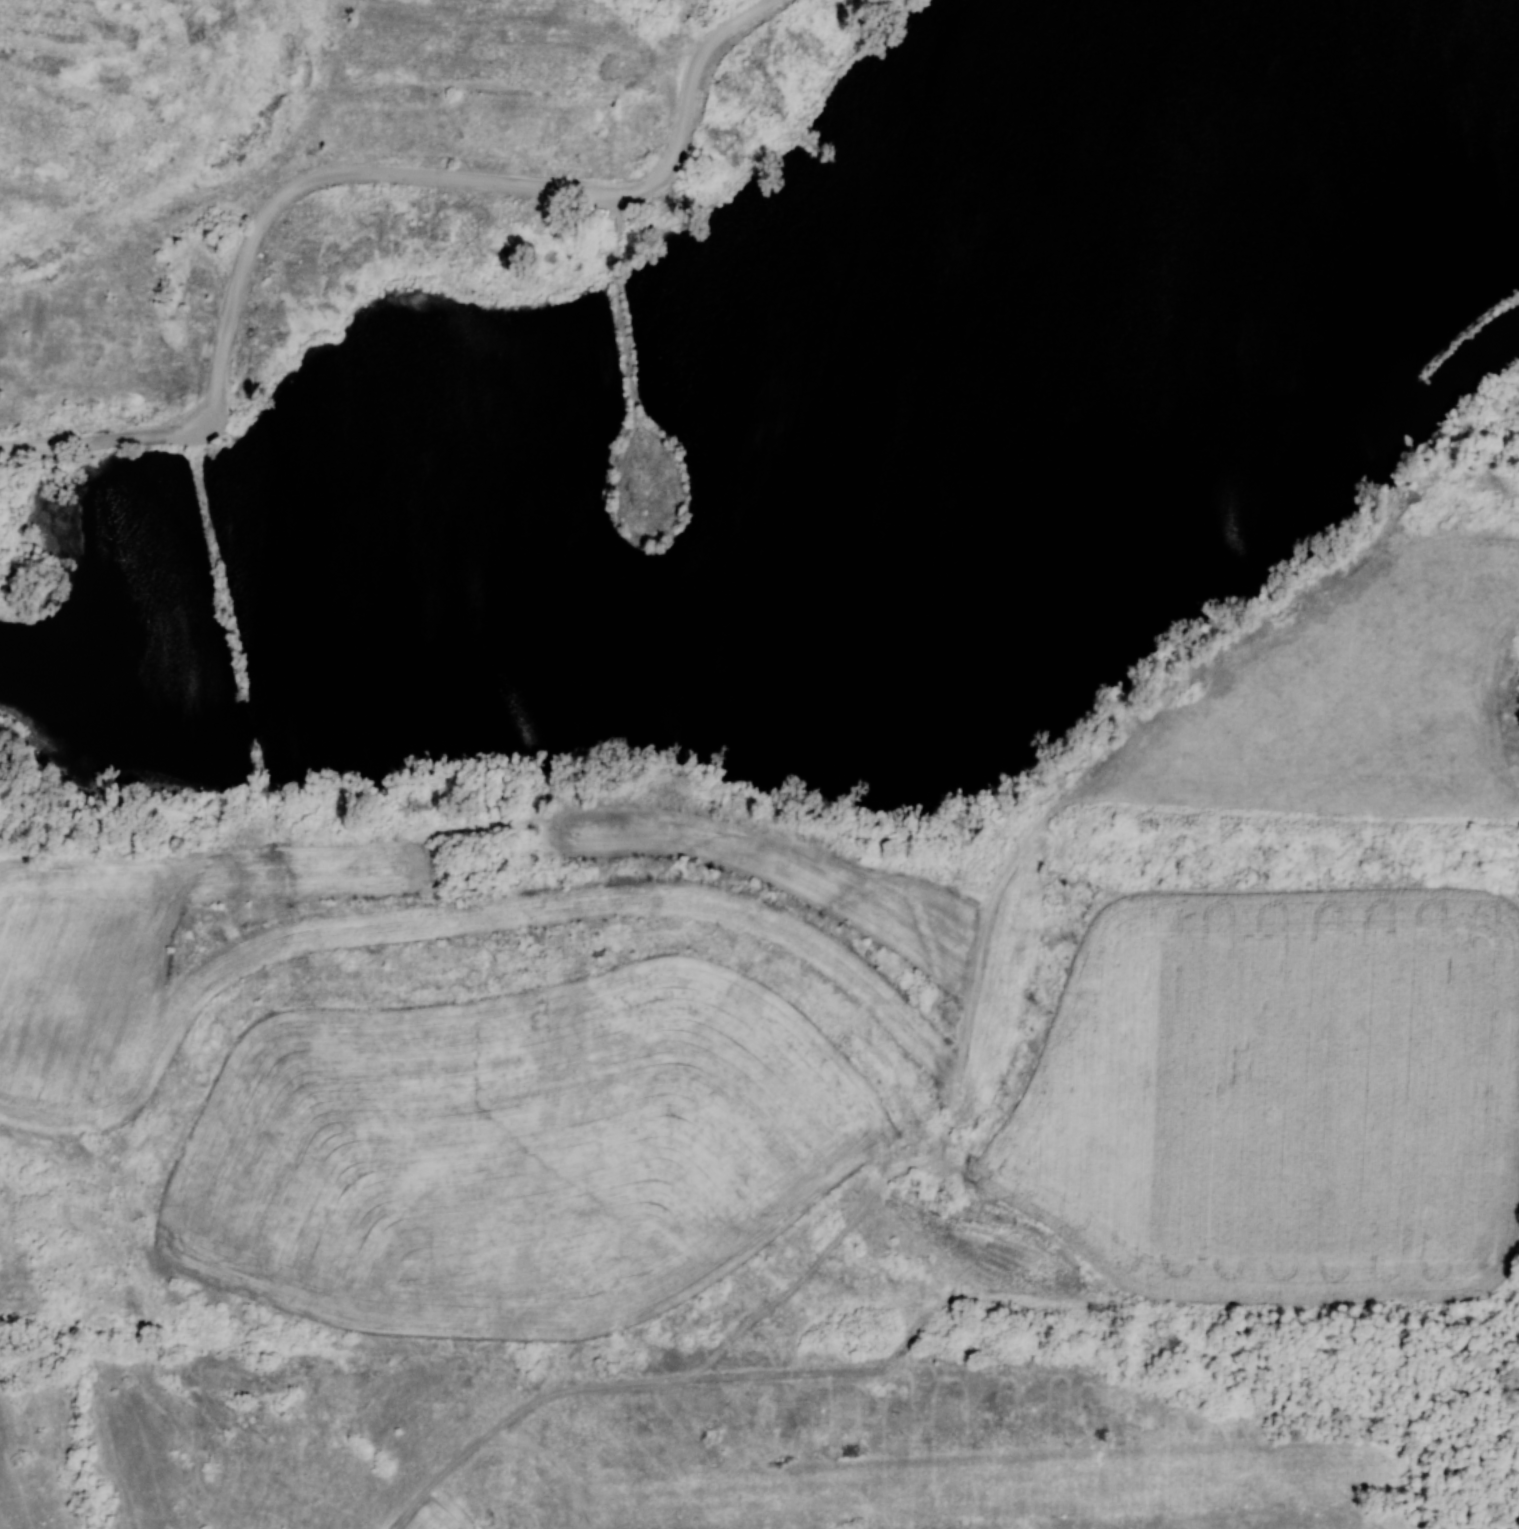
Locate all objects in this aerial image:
parking lot: (778, 1)
road: (357, 173)

